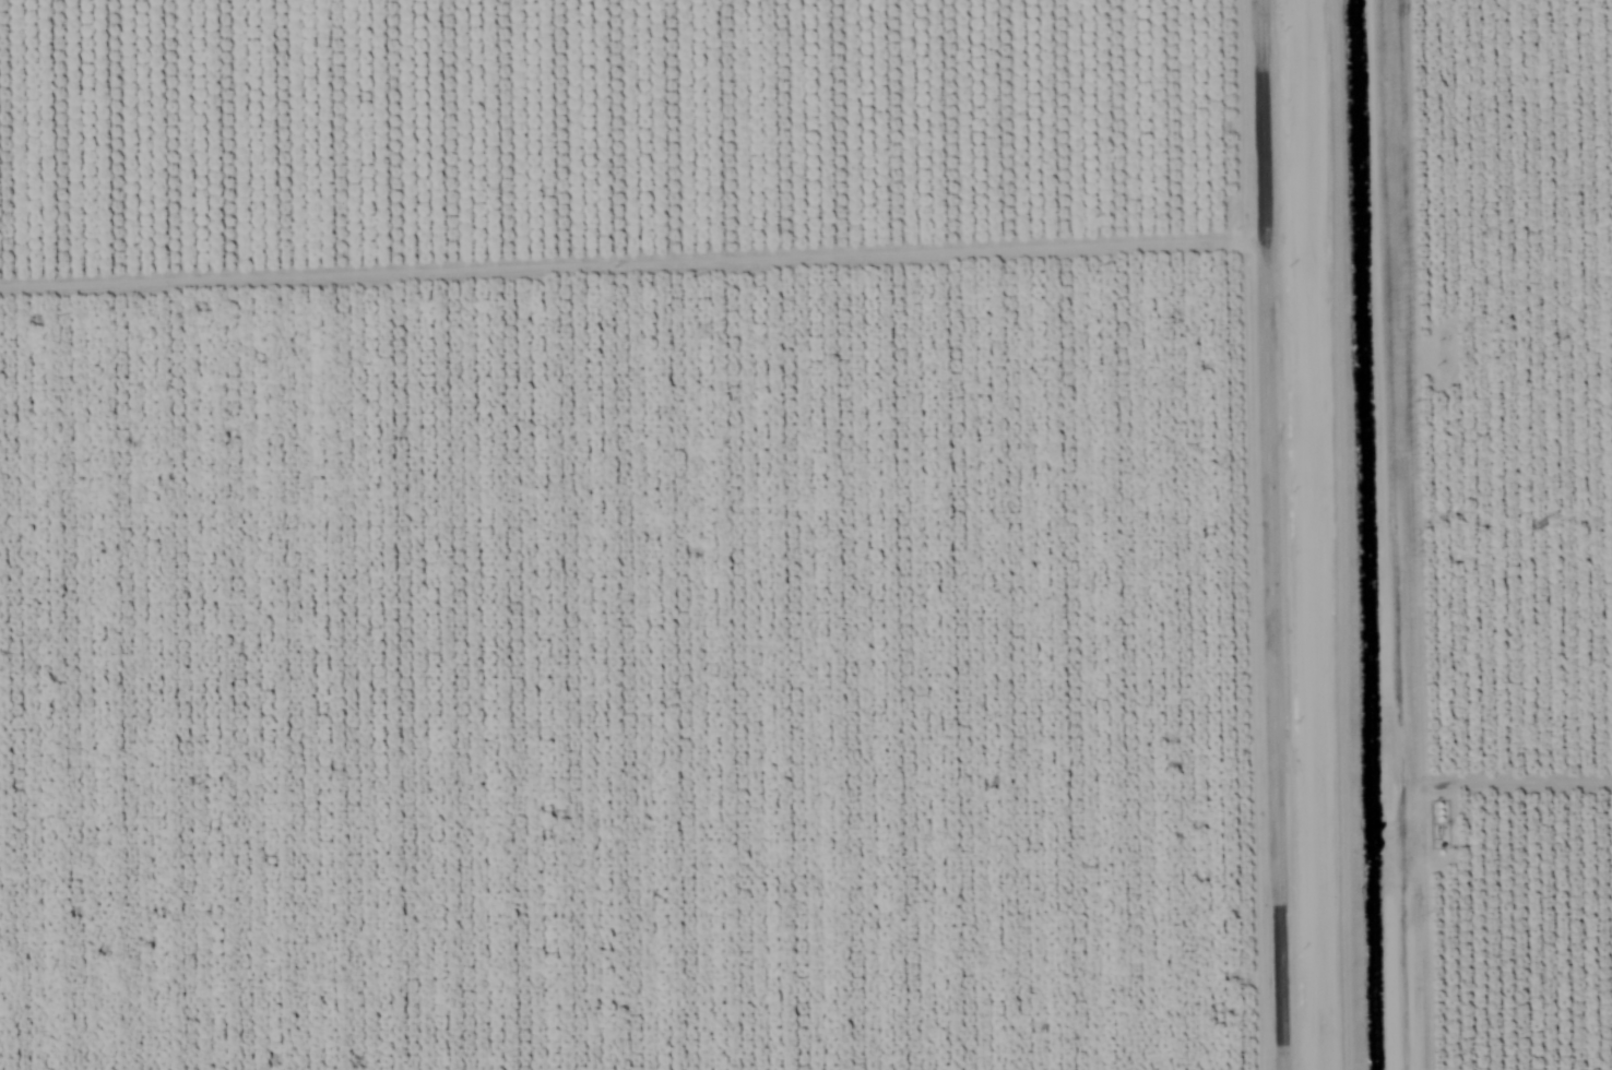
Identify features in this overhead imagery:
road: (1272, 534)

